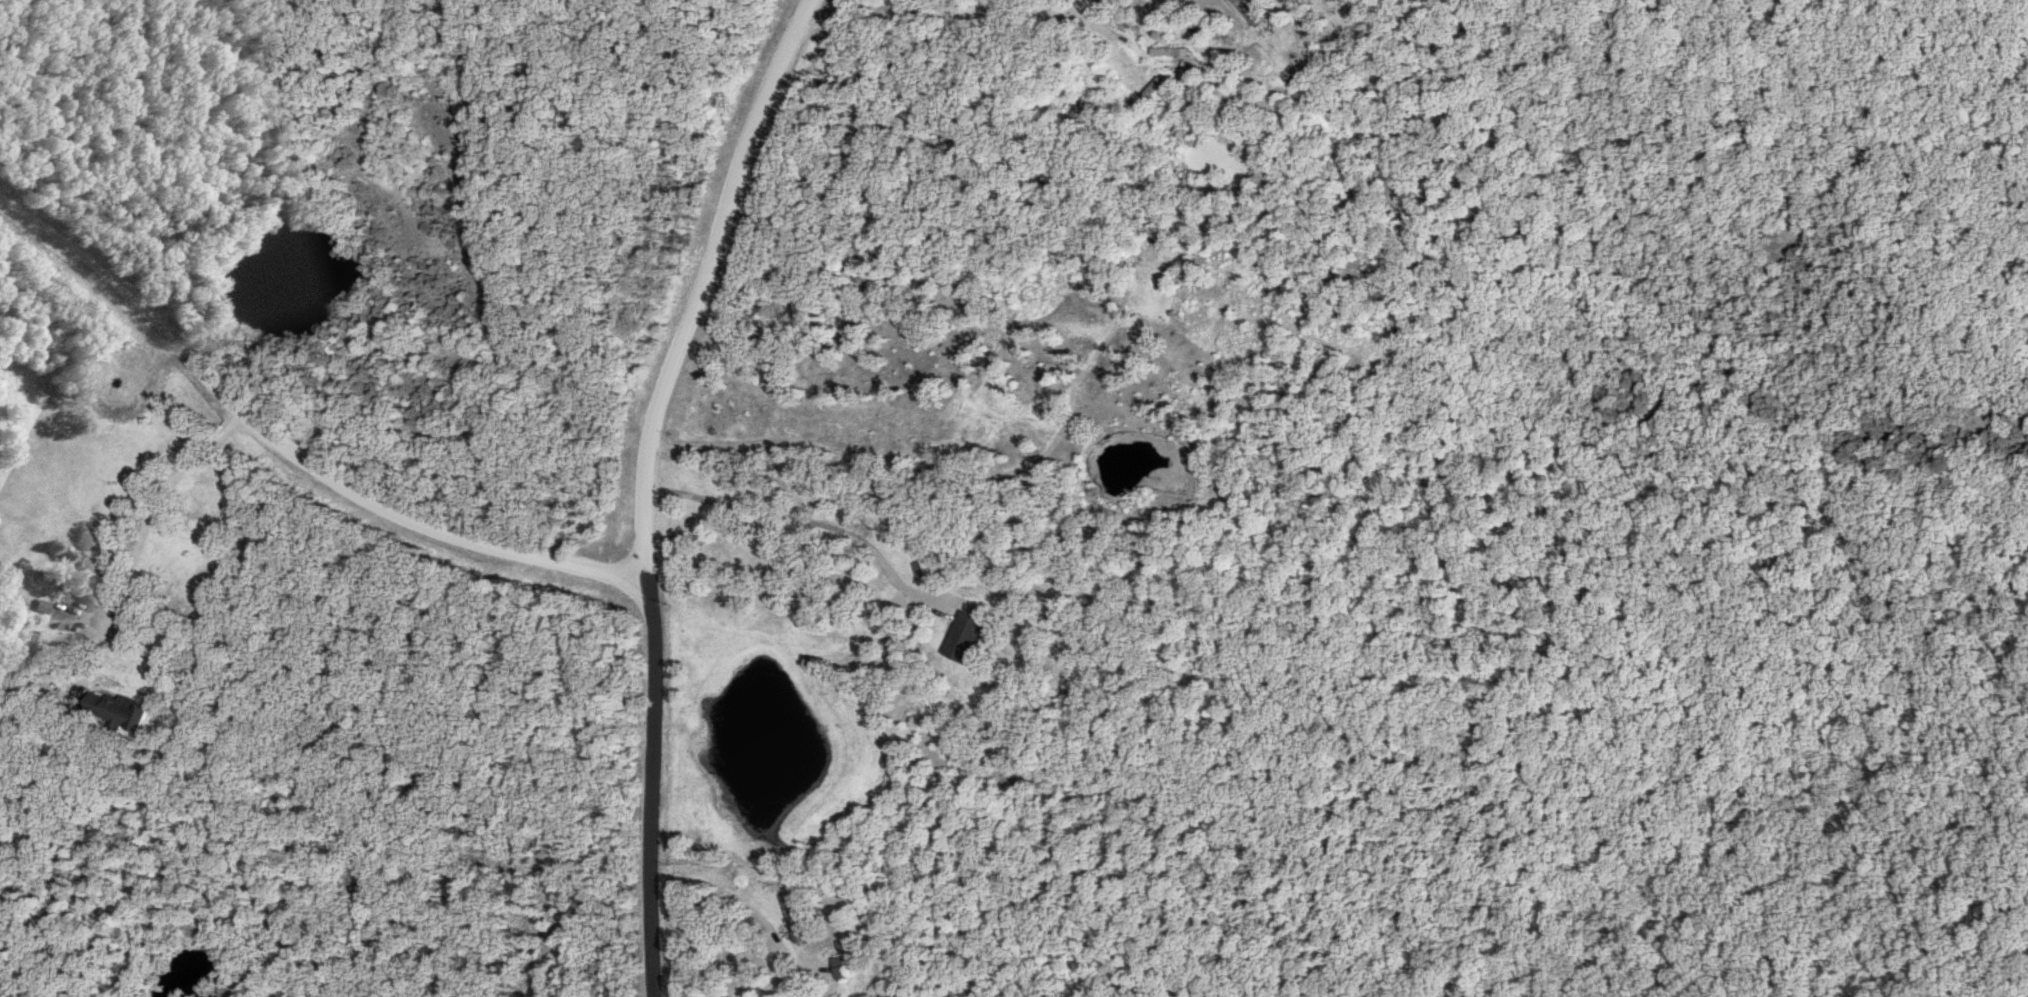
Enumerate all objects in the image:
road: (1008, 12)
building: (1322, 32)
building: (1167, 52)
building: (1147, 90)
road: (288, 452)
road: (647, 484)
road: (148, 510)
road: (817, 524)
building: (921, 572)
building: (53, 609)
building: (960, 638)
building: (111, 711)
building: (789, 918)
building: (835, 969)

